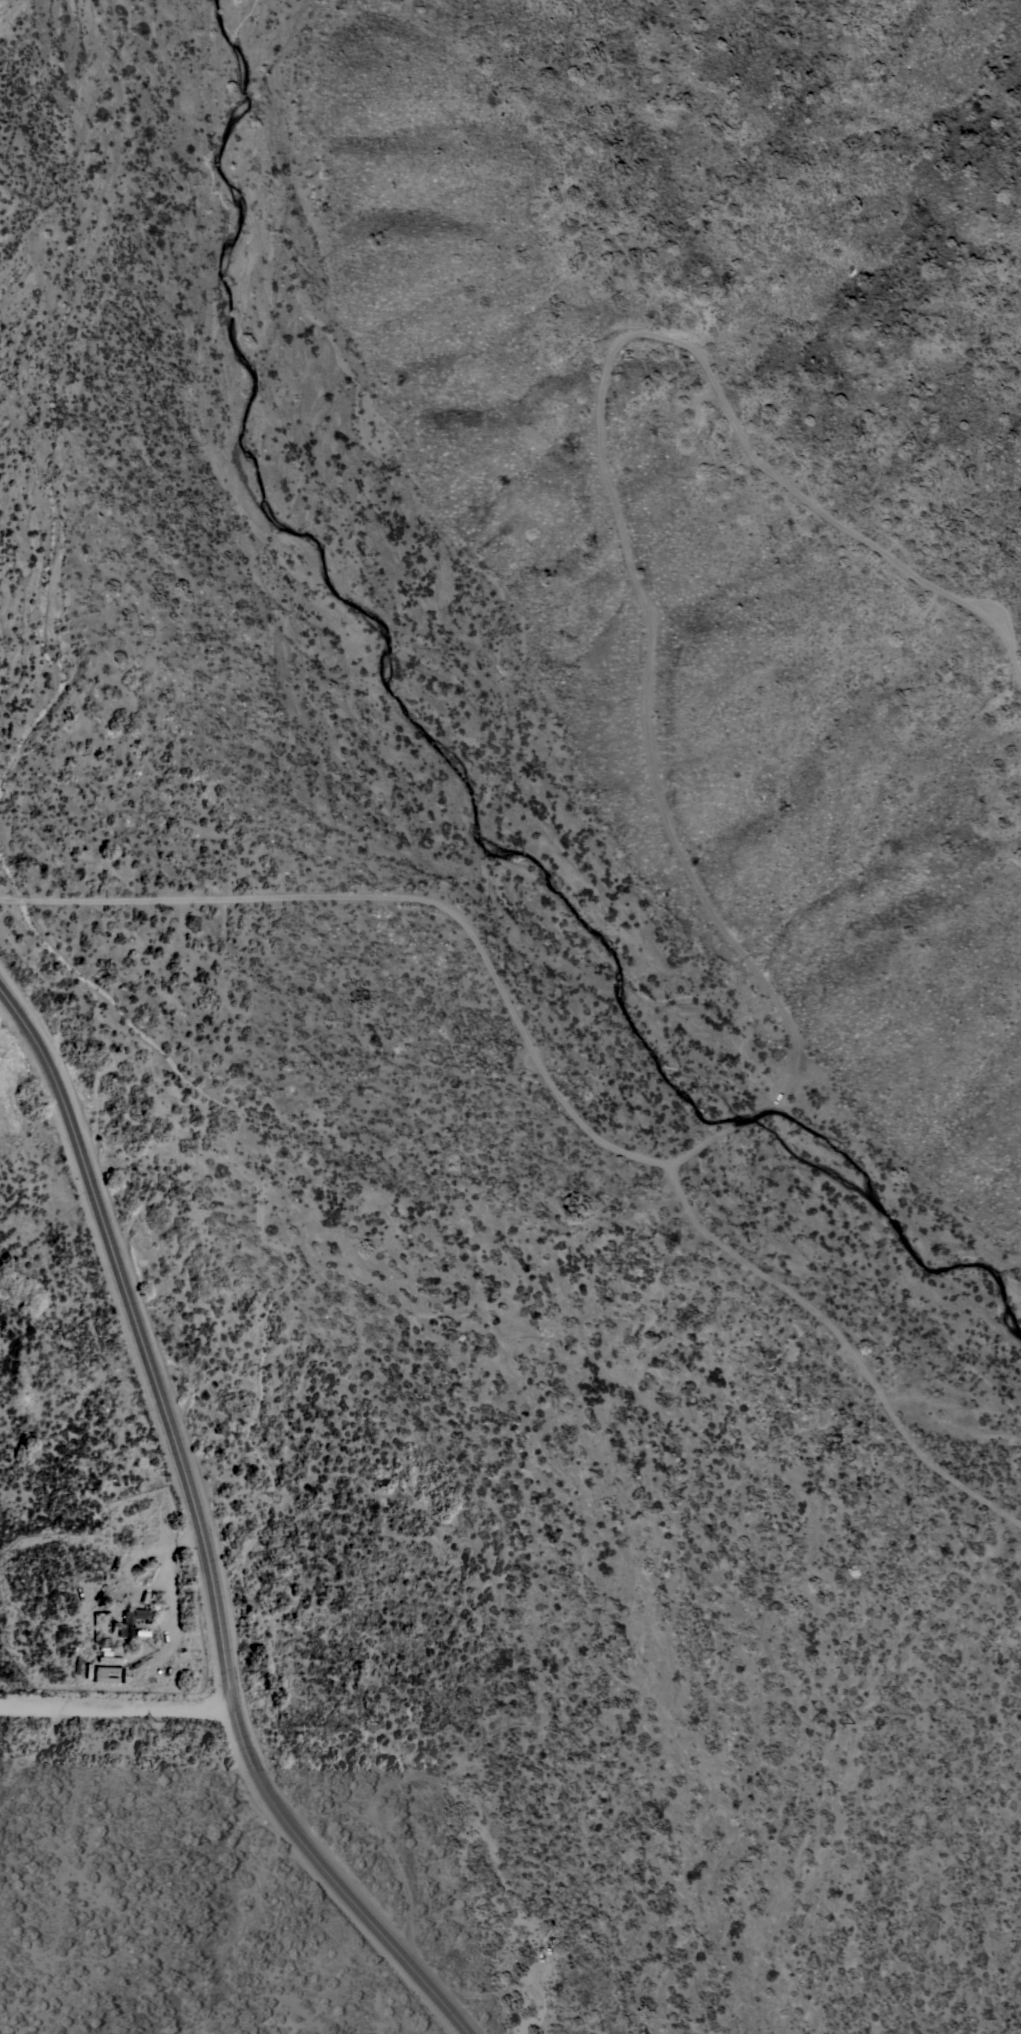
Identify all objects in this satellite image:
road: (714, 912)
road: (203, 1527)
building: (131, 1620)
building: (102, 1670)
building: (104, 1680)
road: (115, 1709)

